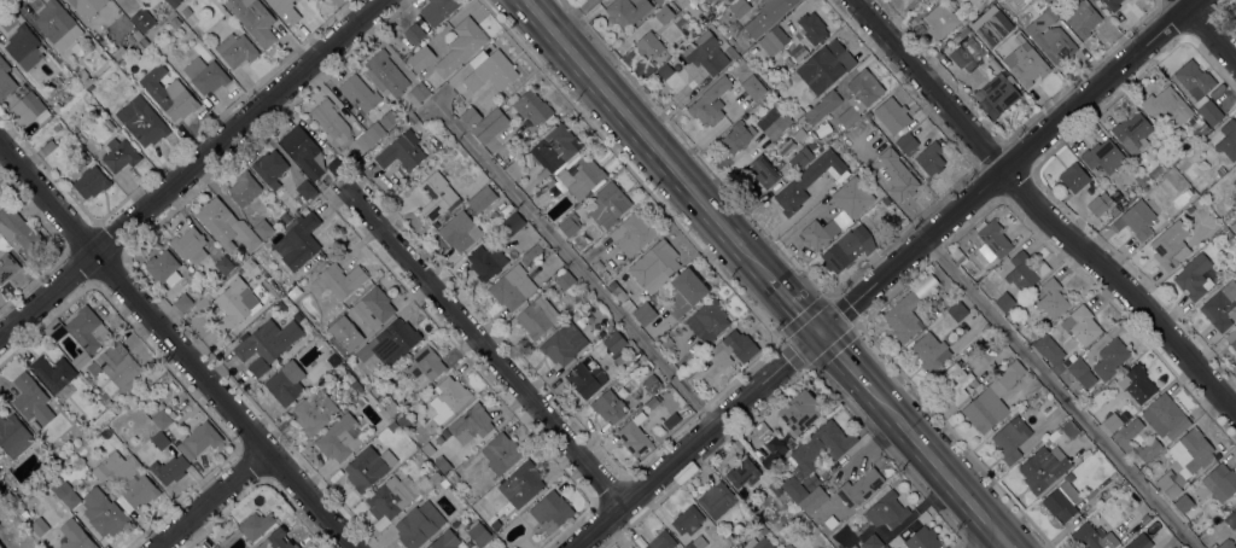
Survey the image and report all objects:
building: (117, 0)
building: (730, 0)
building: (948, 0)
building: (658, 1)
building: (171, 2)
building: (976, 2)
building: (1051, 2)
building: (1113, 4)
building: (86, 6)
building: (739, 7)
building: (437, 10)
building: (185, 11)
building: (285, 11)
building: (625, 11)
building: (664, 14)
building: (766, 16)
building: (1080, 18)
building: (141, 19)
building: (253, 19)
building: (941, 21)
building: (174, 23)
building: (57, 24)
building: (990, 27)
building: (812, 28)
road: (1207, 31)
building: (413, 33)
building: (134, 37)
building: (776, 37)
building: (1050, 37)
building: (460, 46)
building: (648, 46)
building: (24, 47)
building: (972, 48)
building: (235, 49)
building: (119, 52)
building: (730, 52)
building: (705, 53)
building: (420, 58)
building: (961, 58)
building: (121, 62)
building: (993, 65)
building: (824, 66)
building: (663, 70)
building: (1027, 70)
building: (490, 72)
building: (385, 74)
building: (205, 75)
building: (83, 78)
building: (5, 81)
building: (56, 82)
building: (753, 88)
building: (1199, 91)
building: (999, 92)
building: (168, 93)
building: (358, 93)
building: (418, 93)
building: (858, 97)
building: (456, 100)
building: (704, 100)
building: (54, 107)
building: (29, 109)
building: (818, 109)
building: (534, 110)
building: (1173, 110)
building: (891, 115)
building: (470, 117)
building: (412, 118)
building: (141, 121)
building: (772, 123)
building: (380, 126)
building: (490, 126)
building: (57, 128)
building: (72, 129)
building: (338, 129)
building: (1131, 130)
building: (818, 134)
building: (736, 136)
road: (646, 139)
building: (1225, 139)
building: (906, 142)
building: (1184, 144)
building: (48, 147)
building: (554, 150)
building: (302, 151)
building: (401, 151)
building: (119, 155)
building: (1103, 157)
building: (800, 158)
building: (931, 158)
building: (334, 167)
building: (269, 168)
building: (514, 170)
building: (763, 171)
road: (196, 173)
building: (898, 175)
building: (1196, 175)
building: (581, 177)
building: (1074, 177)
building: (1141, 180)
building: (808, 181)
building: (91, 182)
building: (1234, 182)
building: (547, 185)
building: (244, 188)
building: (305, 190)
building: (436, 196)
building: (852, 197)
building: (482, 199)
building: (1098, 204)
building: (608, 205)
building: (1113, 211)
road: (1043, 214)
building: (1150, 214)
building: (1230, 214)
building: (511, 225)
building: (570, 225)
building: (226, 226)
building: (1234, 226)
building: (263, 229)
building: (18, 231)
building: (457, 231)
building: (818, 233)
building: (632, 234)
building: (488, 238)
building: (992, 240)
building: (298, 241)
building: (190, 245)
building: (538, 245)
building: (1171, 245)
building: (846, 249)
building: (5, 260)
road: (572, 261)
building: (485, 262)
building: (249, 264)
building: (223, 266)
building: (654, 267)
building: (163, 268)
building: (1025, 270)
road: (880, 274)
building: (604, 275)
building: (1194, 276)
building: (338, 280)
building: (565, 280)
building: (512, 287)
building: (617, 291)
building: (261, 292)
building: (293, 292)
building: (683, 293)
building: (657, 296)
building: (1051, 298)
building: (1004, 302)
building: (182, 303)
road: (792, 305)
building: (233, 307)
building: (1220, 307)
building: (373, 308)
building: (582, 310)
building: (957, 311)
building: (645, 314)
building: (904, 316)
building: (1009, 316)
building: (537, 317)
building: (338, 320)
building: (707, 320)
building: (1080, 325)
building: (81, 331)
building: (311, 332)
traffic signals: (815, 332)
building: (1231, 338)
building: (614, 342)
building: (390, 343)
building: (666, 343)
building: (267, 344)
building: (564, 344)
road: (176, 345)
road: (479, 346)
building: (733, 349)
building: (931, 351)
building: (671, 352)
building: (1050, 354)
building: (351, 358)
building: (1109, 358)
building: (332, 360)
building: (620, 360)
road: (839, 360)
building: (424, 363)
building: (116, 369)
building: (1080, 372)
building: (54, 375)
building: (585, 378)
building: (285, 383)
building: (955, 383)
building: (354, 384)
building: (651, 384)
building: (1136, 384)
building: (374, 392)
building: (667, 392)
building: (711, 392)
road: (1057, 392)
building: (380, 397)
building: (449, 397)
building: (31, 400)
building: (991, 400)
building: (130, 401)
building: (361, 402)
building: (652, 402)
building: (133, 406)
building: (608, 407)
building: (392, 410)
building: (315, 412)
building: (798, 412)
building: (383, 413)
building: (1165, 416)
building: (161, 418)
building: (671, 420)
building: (402, 421)
building: (471, 424)
building: (1110, 424)
building: (34, 426)
building: (392, 427)
building: (1069, 430)
building: (444, 433)
building: (13, 436)
building: (635, 436)
building: (1126, 436)
building: (338, 438)
building: (199, 439)
building: (438, 439)
building: (1010, 439)
building: (1048, 439)
building: (159, 441)
building: (769, 444)
building: (821, 445)
building: (427, 449)
building: (1149, 450)
building: (501, 453)
building: (1185, 461)
building: (442, 464)
road: (929, 464)
building: (368, 467)
building: (1043, 468)
building: (169, 470)
building: (742, 473)
building: (454, 476)
building: (126, 480)
building: (427, 482)
building: (810, 482)
building: (1220, 482)
building: (444, 484)
building: (521, 484)
building: (859, 486)
building: (775, 488)
building: (793, 488)
building: (65, 494)
building: (389, 499)
building: (717, 500)
building: (1062, 500)
building: (788, 502)
building: (814, 502)
building: (1183, 503)
road: (222, 505)
building: (886, 511)
building: (21, 512)
building: (103, 513)
building: (550, 513)
building: (1144, 519)
building: (1231, 519)
building: (687, 520)
building: (255, 525)
building: (418, 525)
building: (495, 525)
building: (39, 526)
building: (762, 529)
building: (771, 529)
building: (479, 535)
building: (74, 536)
building: (1095, 537)
building: (922, 538)
building: (276, 541)
building: (445, 541)
building: (661, 541)
building: (871, 542)
building: (696, 543)
building: (758, 543)
road: (990, 543)
road: (999, 543)
building: (1226, 544)
building: (788, 546)
building: (215, 547)
building: (885, 547)
building: (1126, 547)

